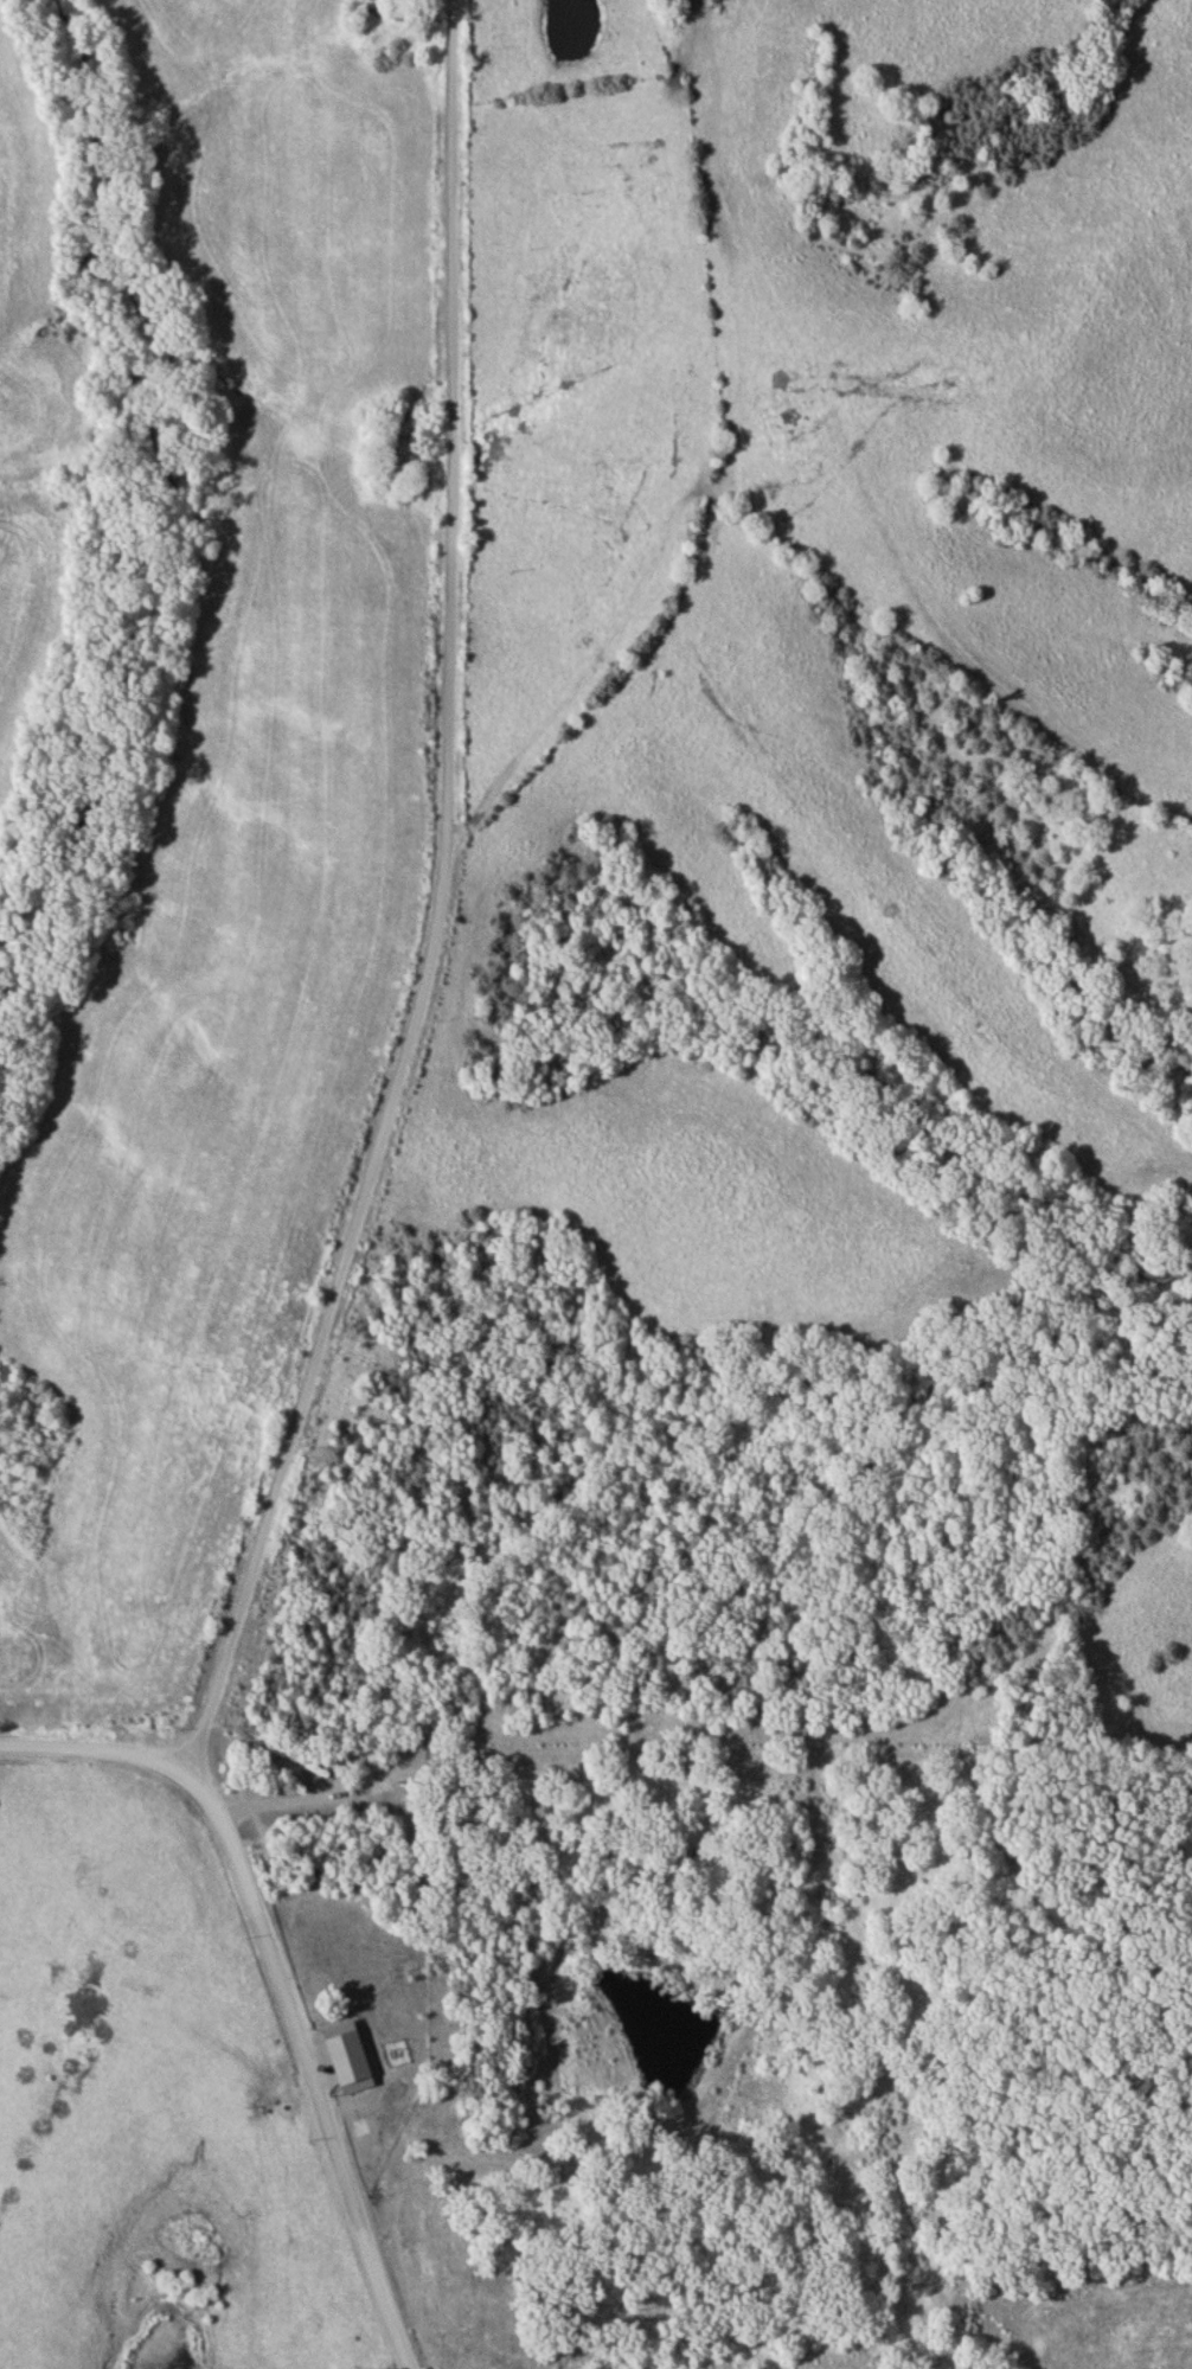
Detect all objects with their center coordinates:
road: (436, 923)
road: (277, 1971)
building: (354, 2062)

